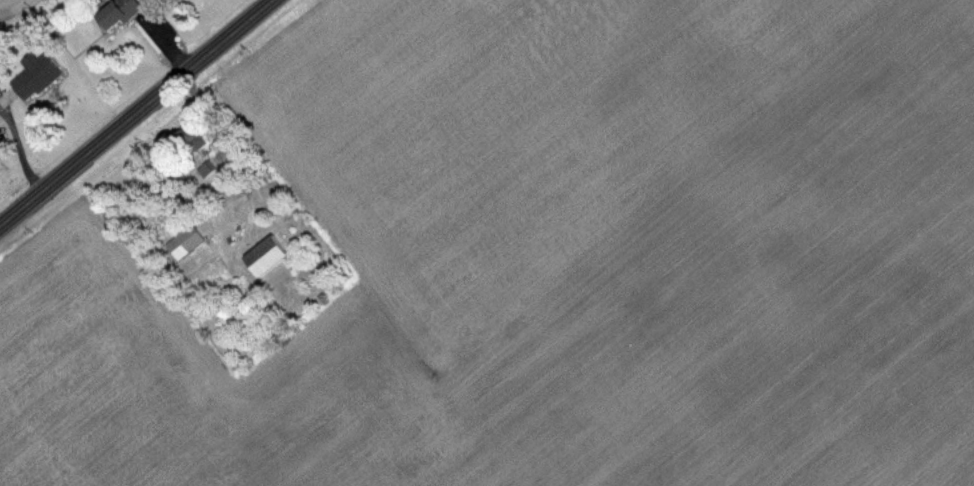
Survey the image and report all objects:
building: (125, 13)
building: (42, 76)
road: (135, 113)
building: (200, 135)
building: (210, 170)
building: (189, 242)
building: (275, 256)

